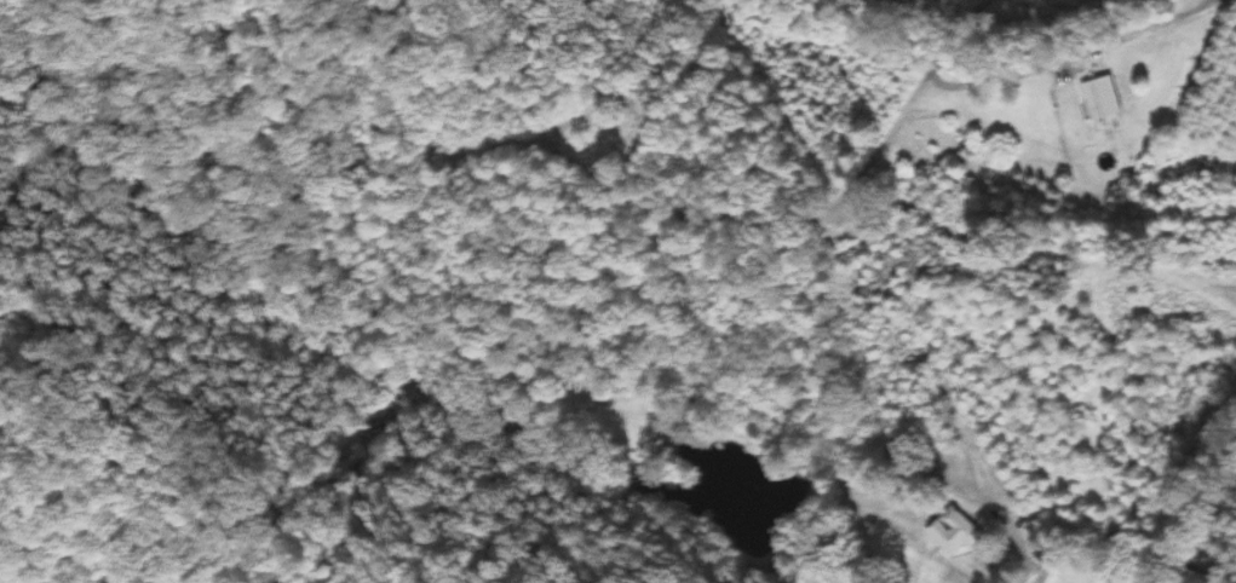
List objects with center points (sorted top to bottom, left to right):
building: (1097, 99)
building: (948, 532)

